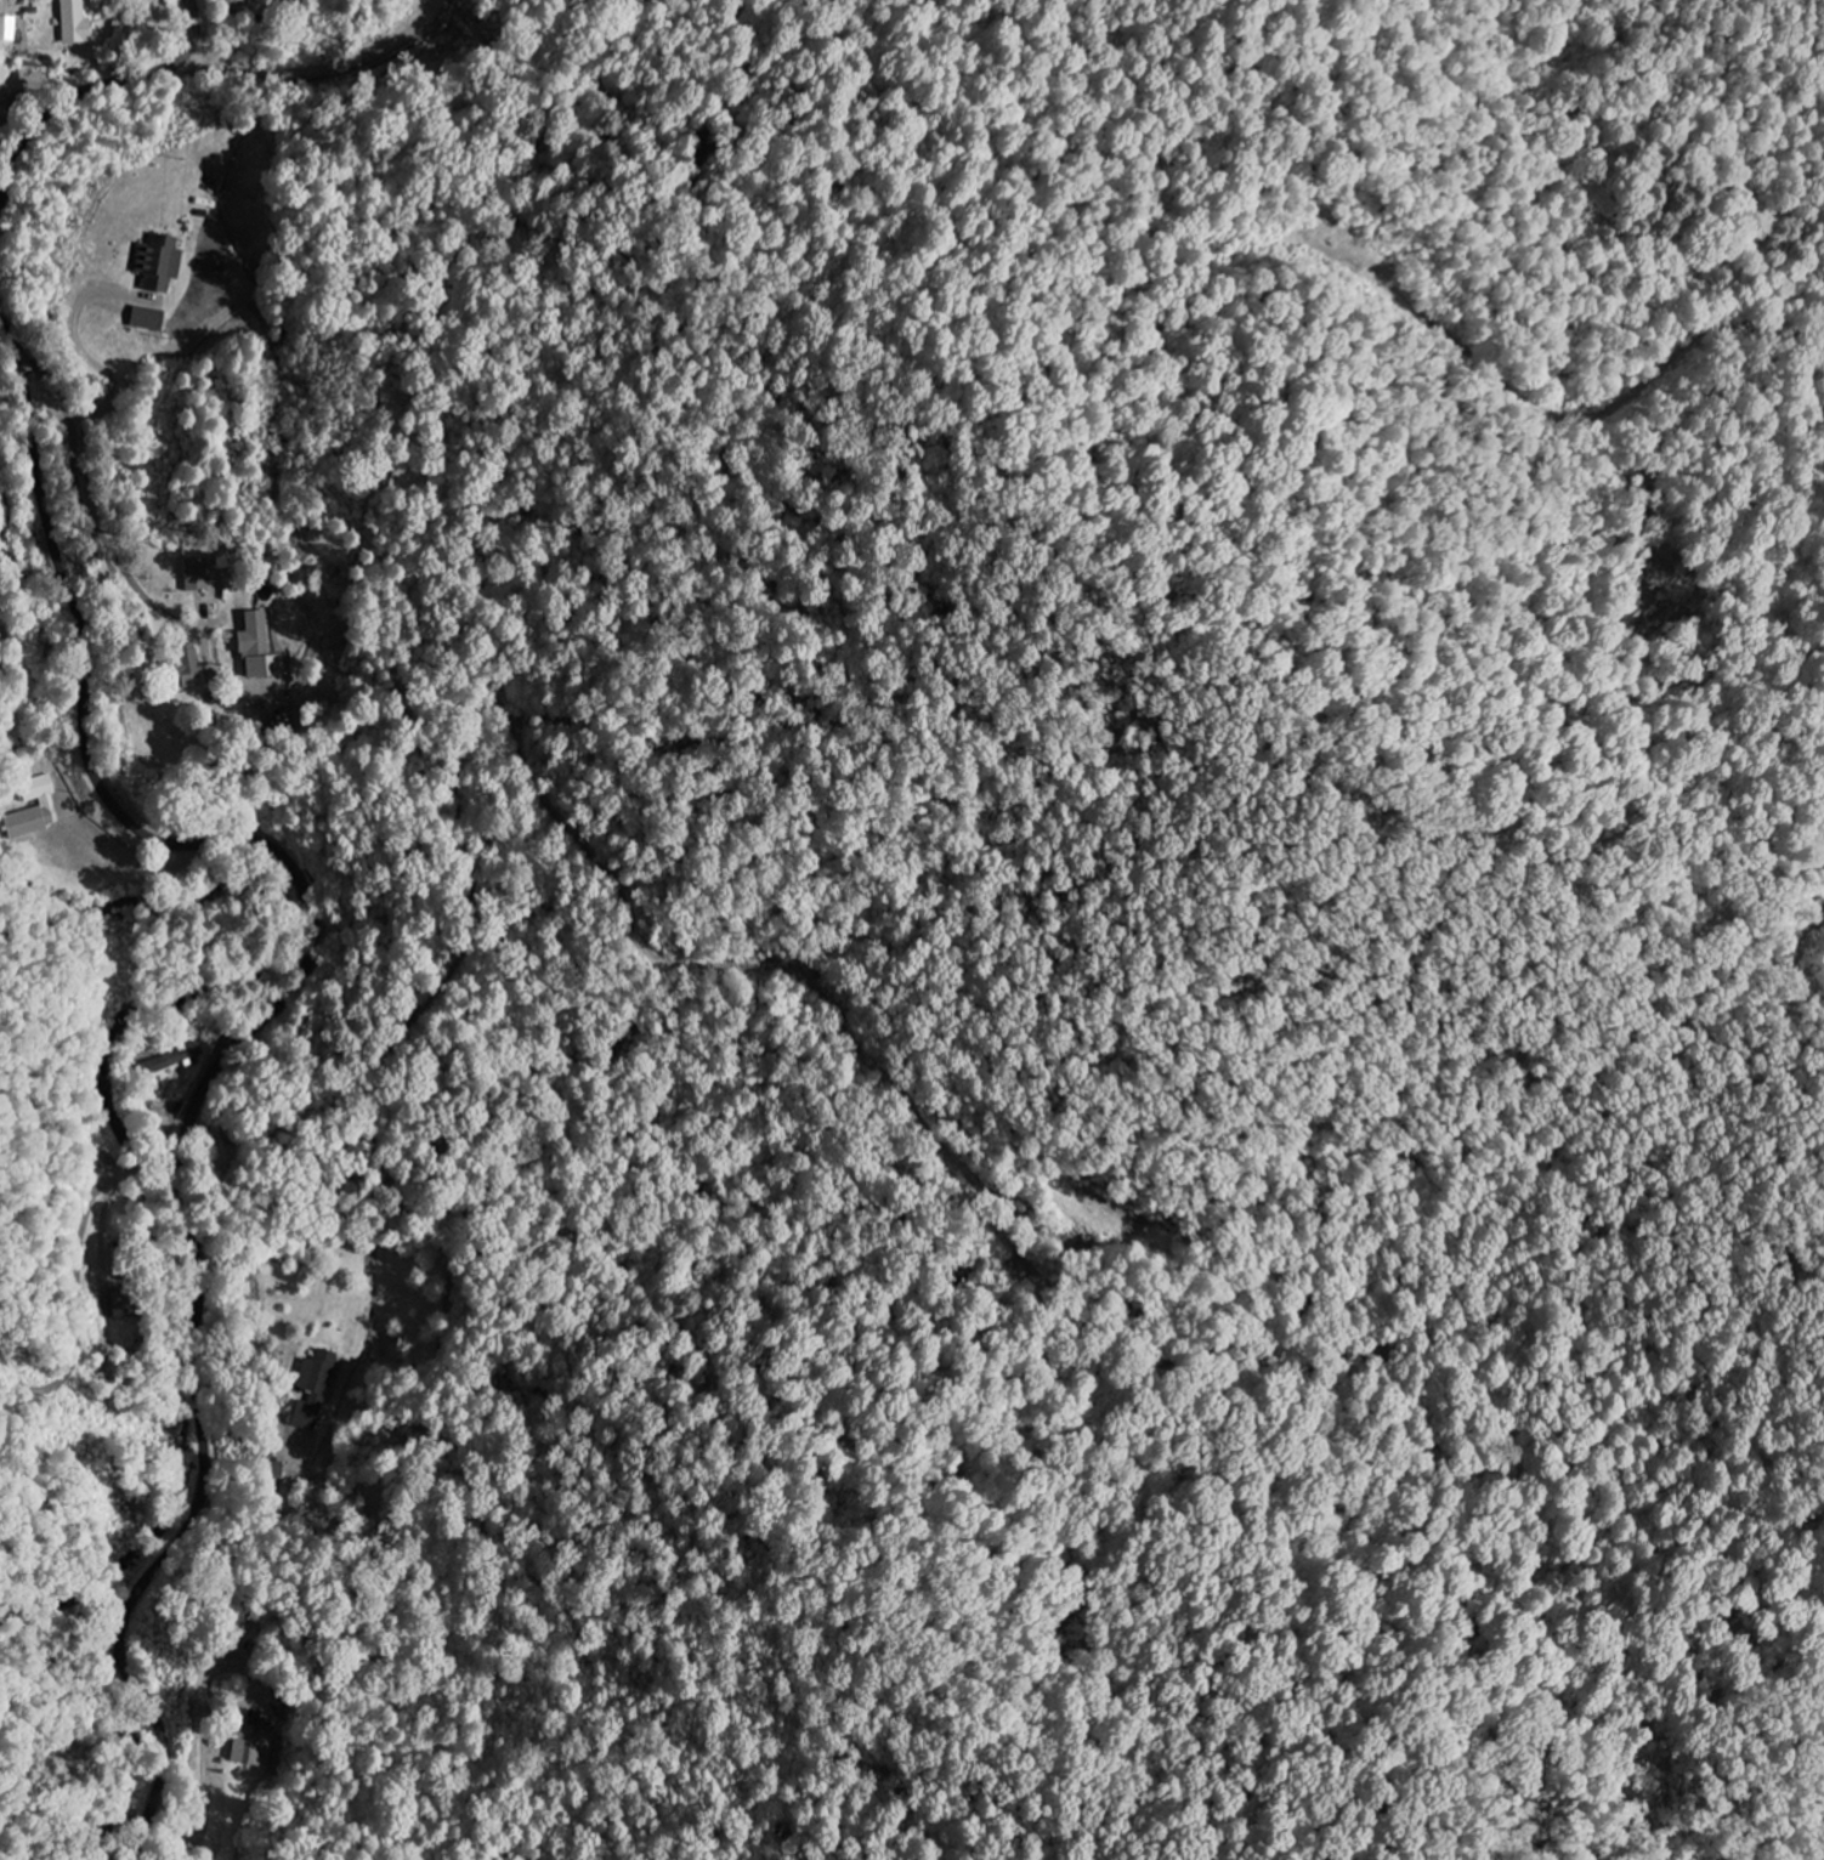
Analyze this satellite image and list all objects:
building: (238, 5)
building: (78, 23)
road: (108, 84)
building: (0, 103)
road: (6, 188)
road: (5, 198)
building: (162, 262)
building: (151, 319)
building: (198, 575)
building: (261, 650)
building: (35, 810)
road: (257, 1025)
building: (174, 1059)
road: (83, 1254)
building: (124, 1303)
building: (317, 1390)
building: (254, 1747)

